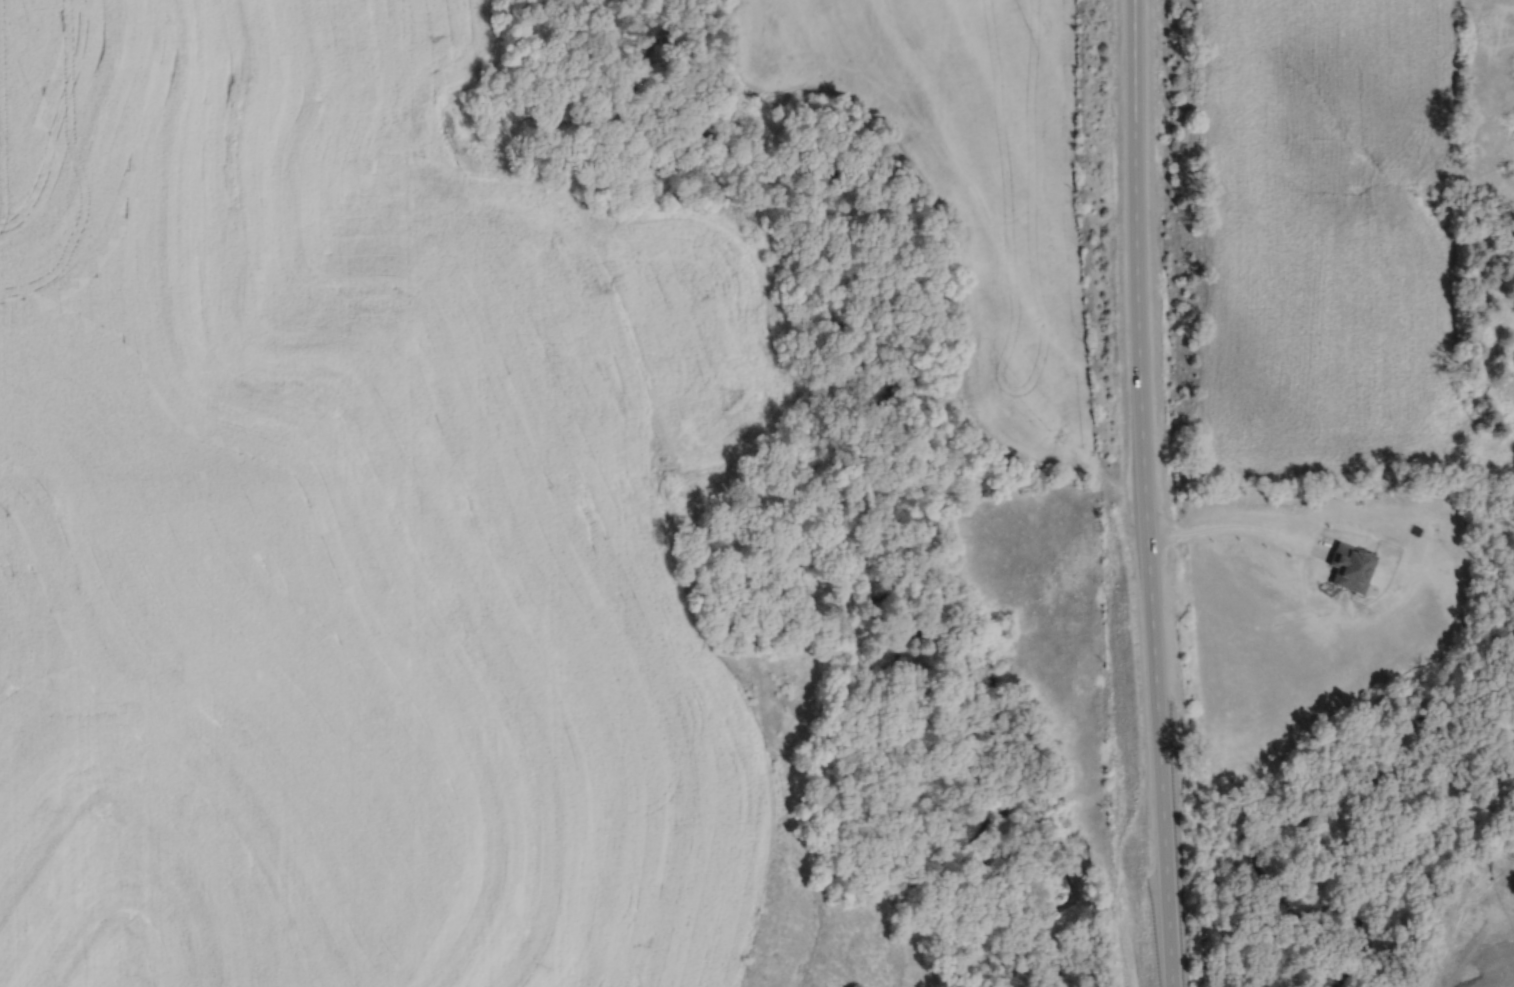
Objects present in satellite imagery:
road: (1147, 493)
road: (1225, 527)

